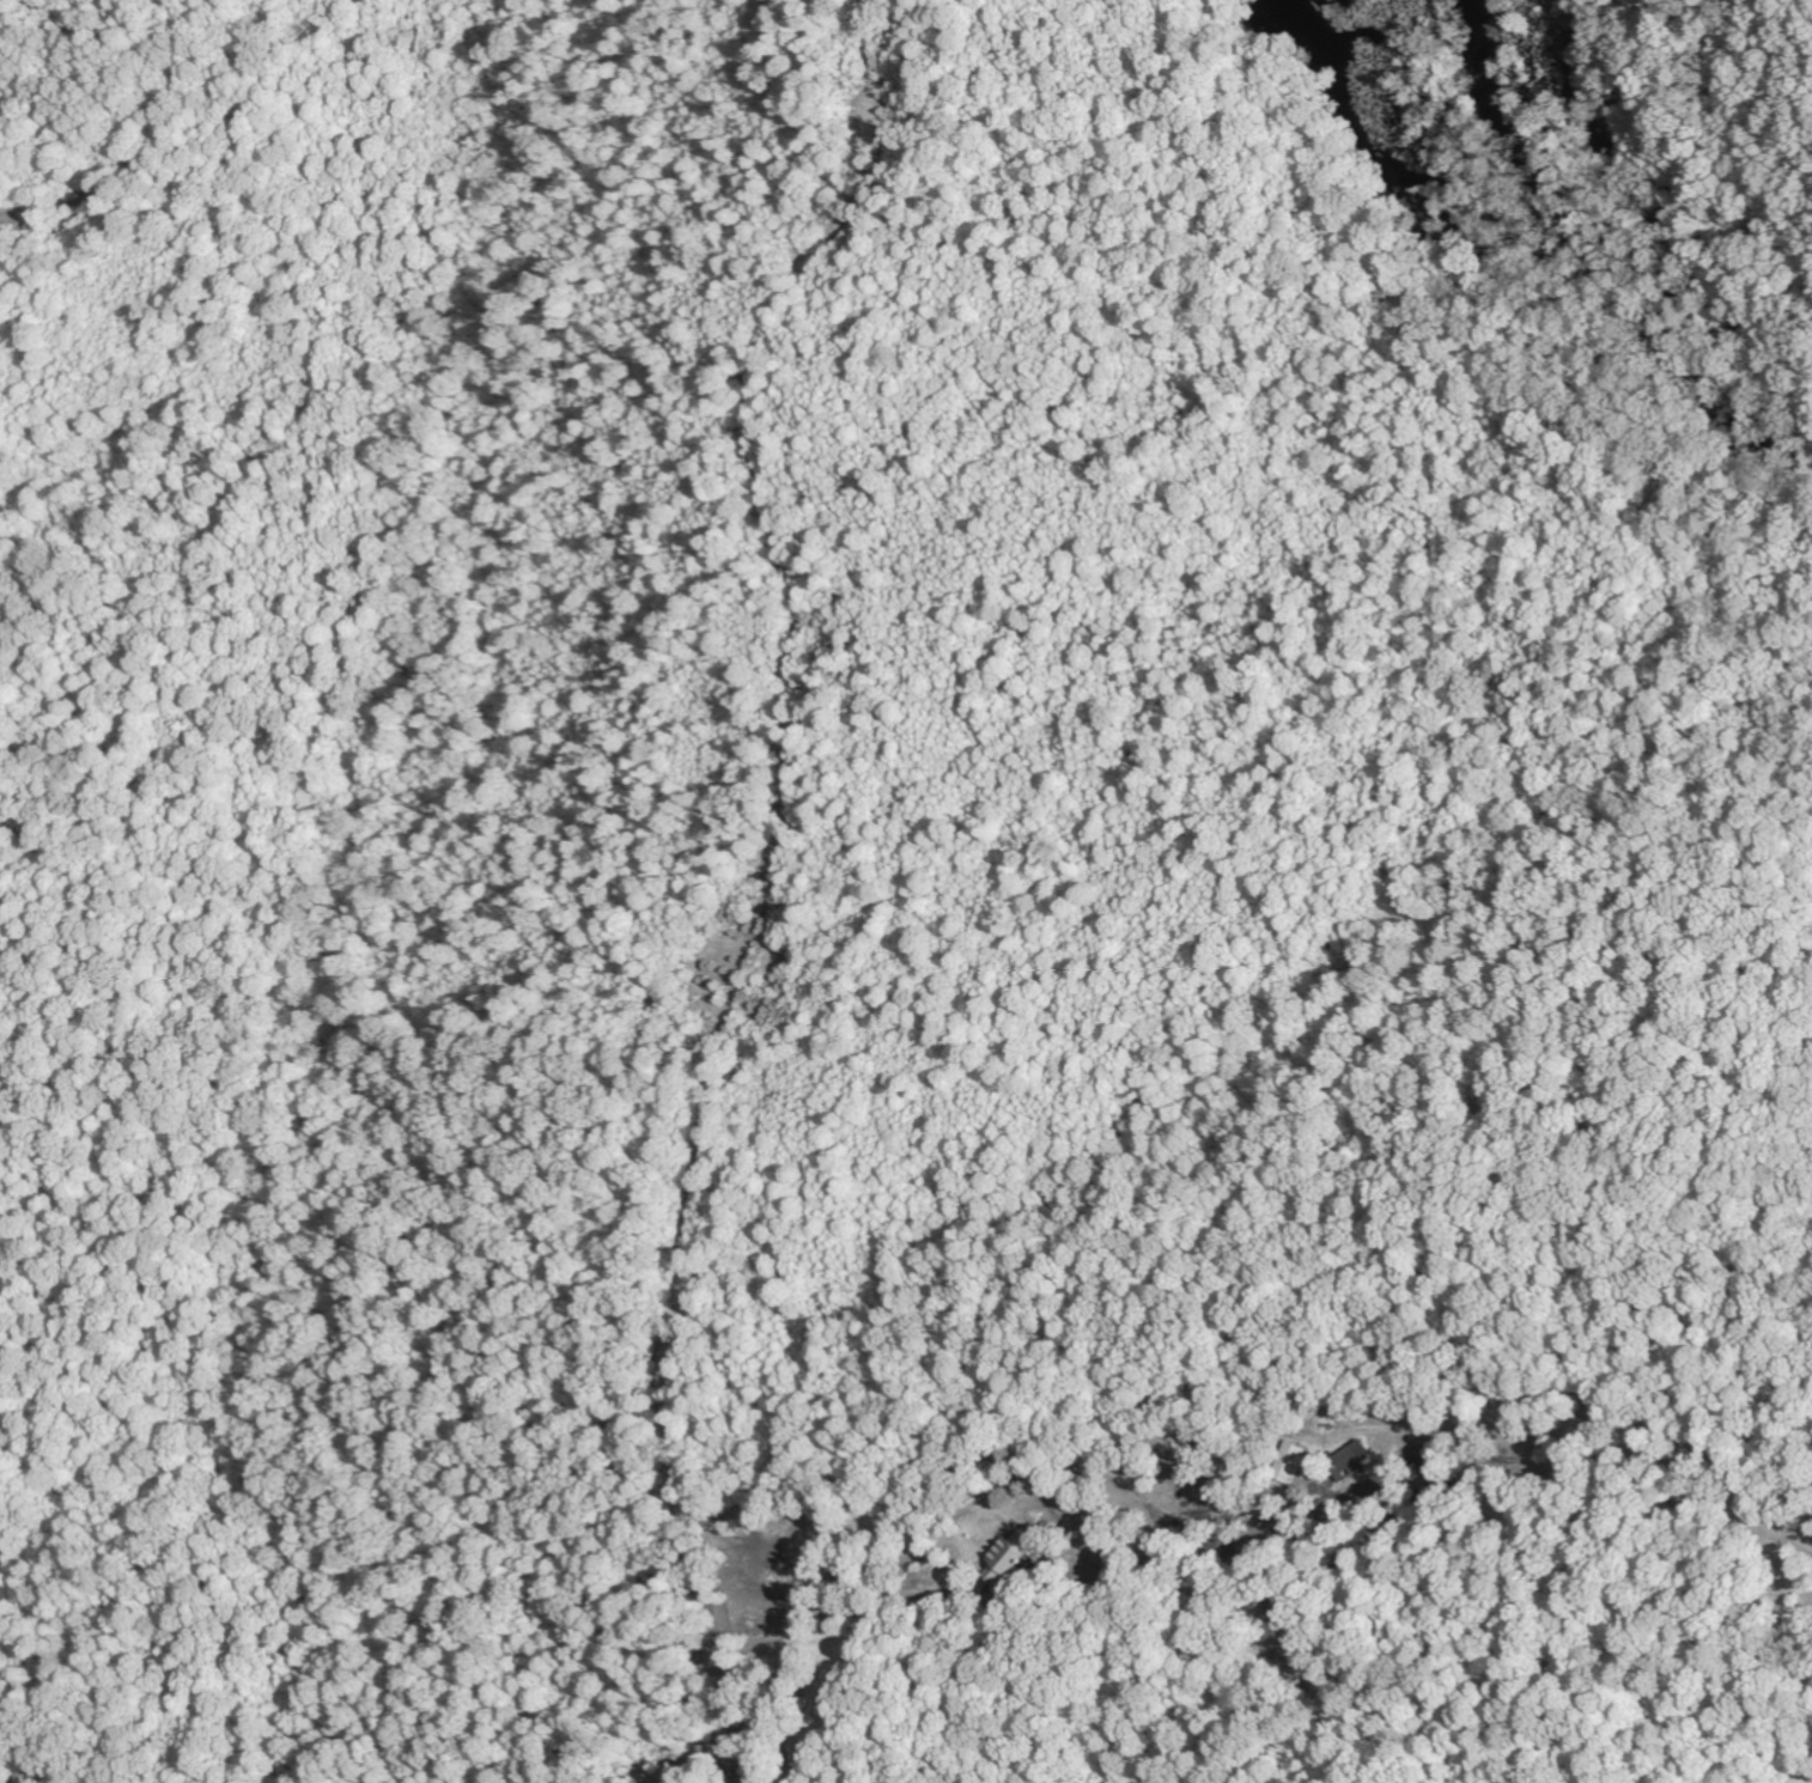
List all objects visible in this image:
building: (1361, 1459)
building: (1027, 1560)
road: (738, 1717)

